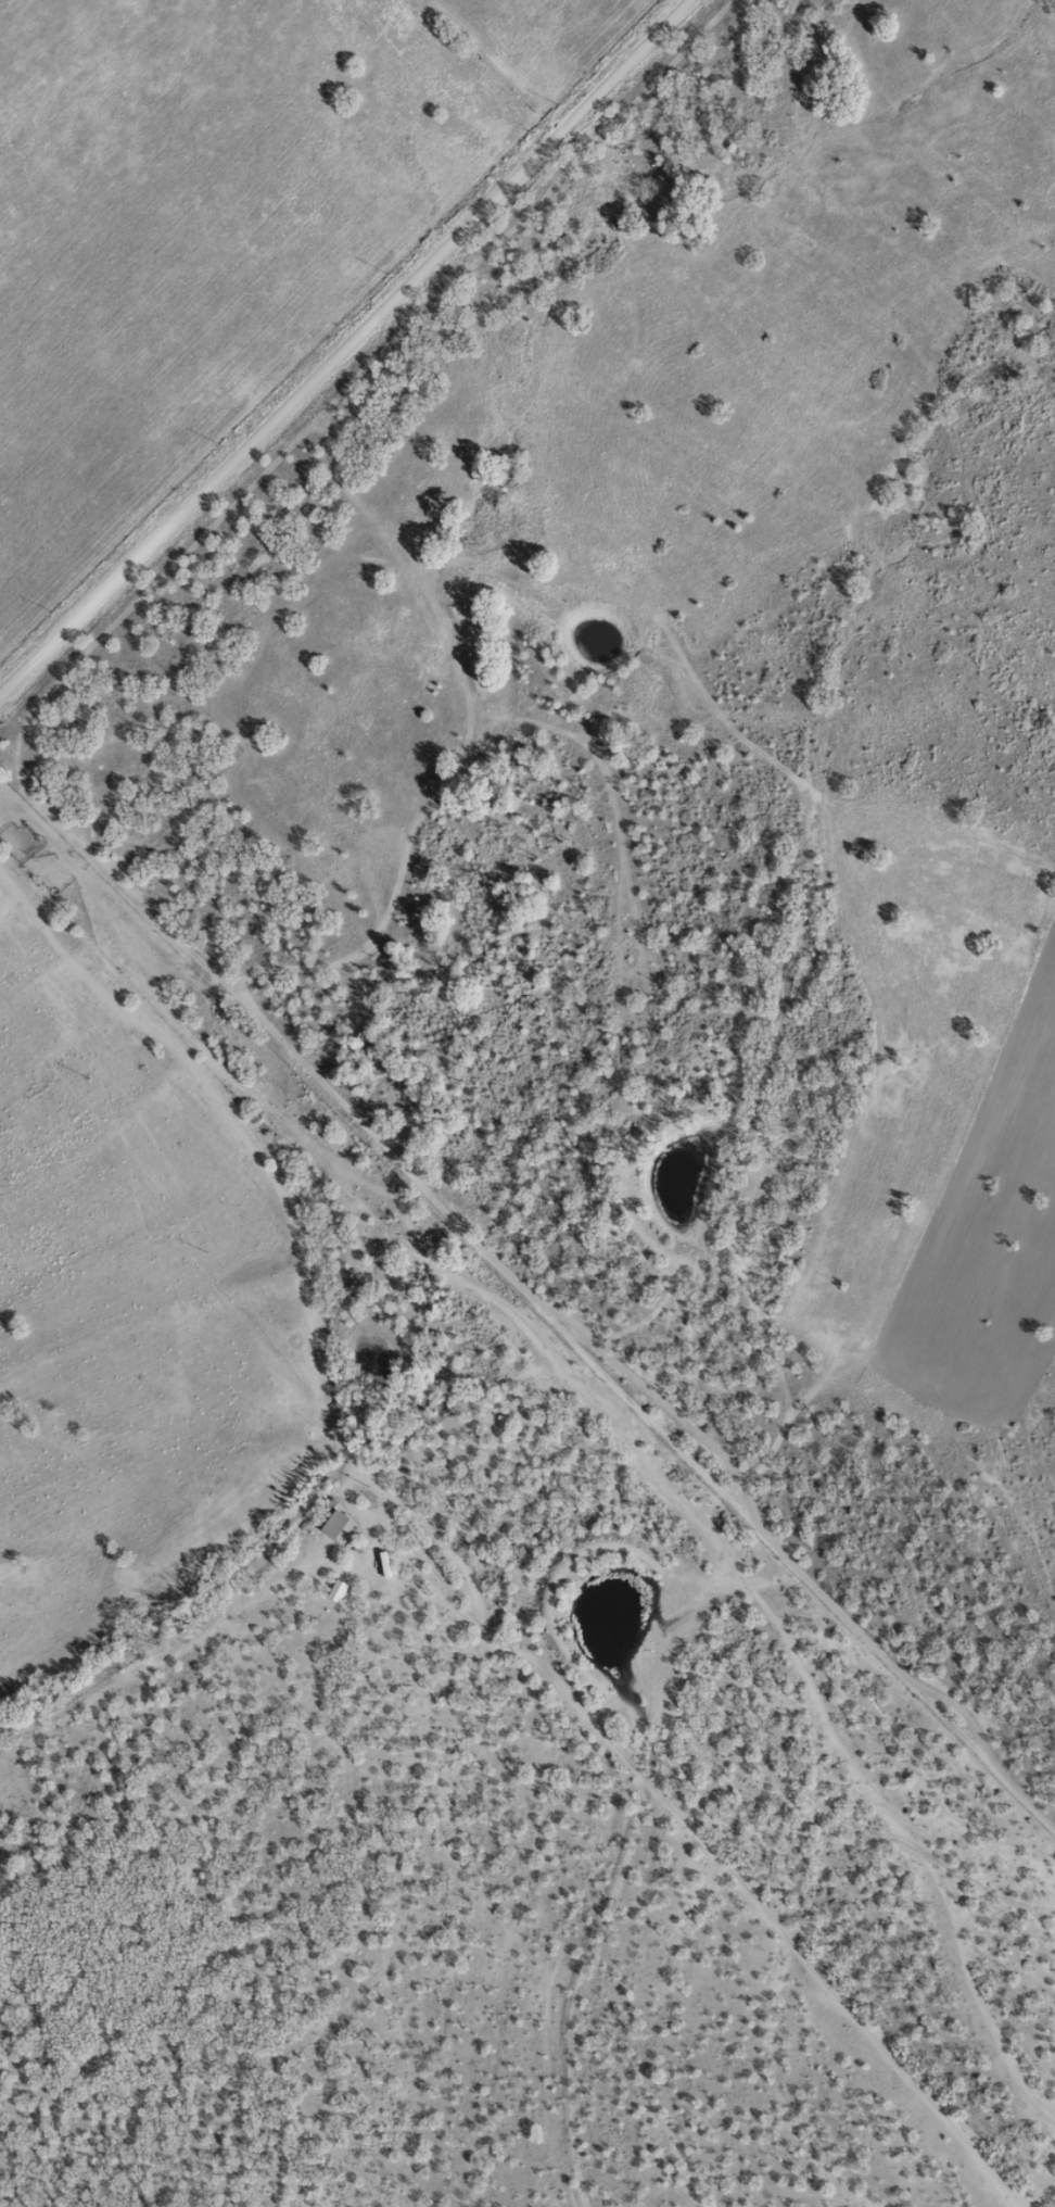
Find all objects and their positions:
road: (340, 344)
building: (330, 1523)

